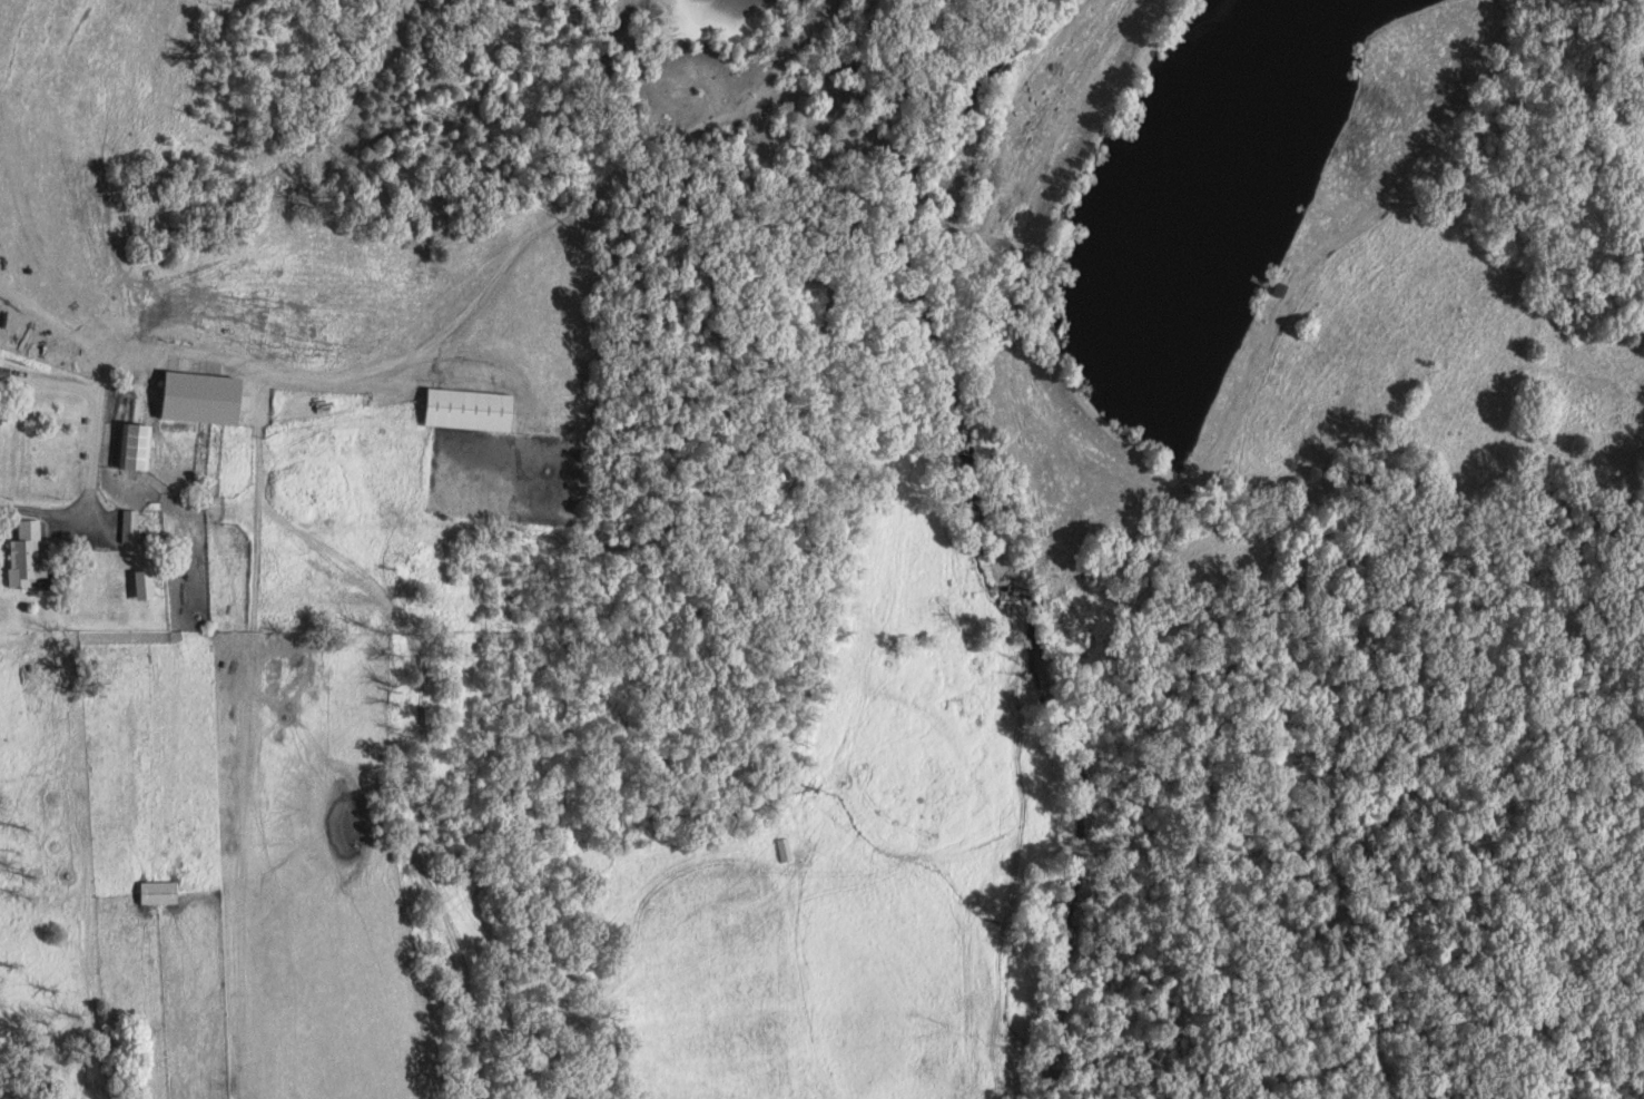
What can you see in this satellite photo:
building: (184, 409)
building: (464, 411)
building: (131, 449)
building: (129, 530)
building: (22, 558)
building: (140, 588)
building: (155, 895)

